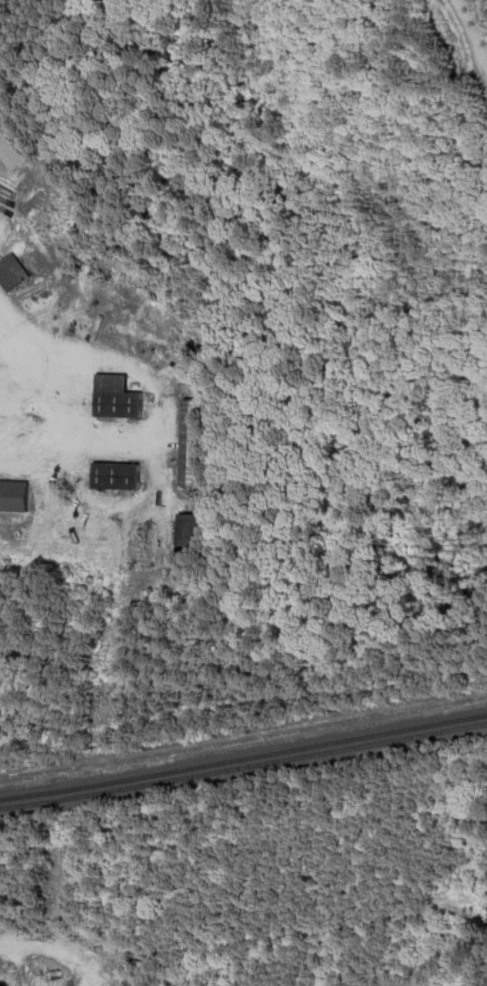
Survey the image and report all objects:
road: (467, 39)
building: (9, 155)
building: (12, 275)
building: (117, 400)
building: (191, 446)
building: (117, 478)
building: (14, 498)
railway: (243, 758)
railway: (243, 767)

